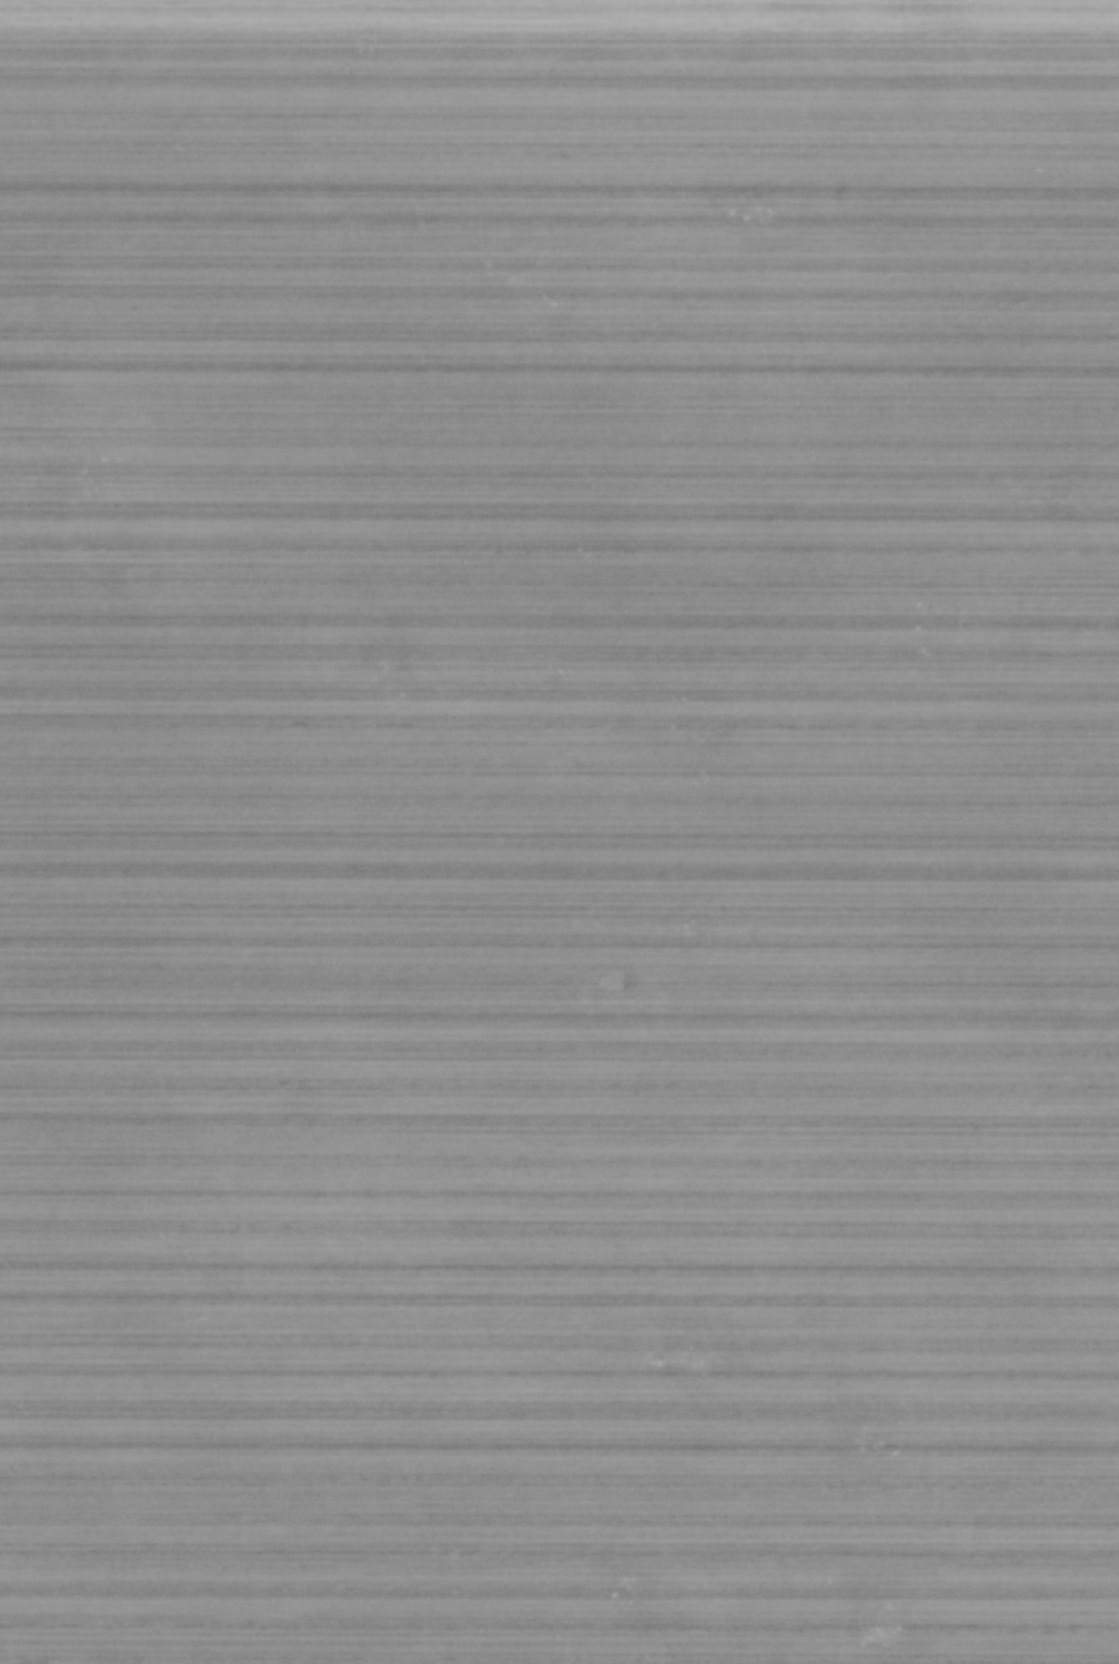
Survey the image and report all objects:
crop: (559, 831)

